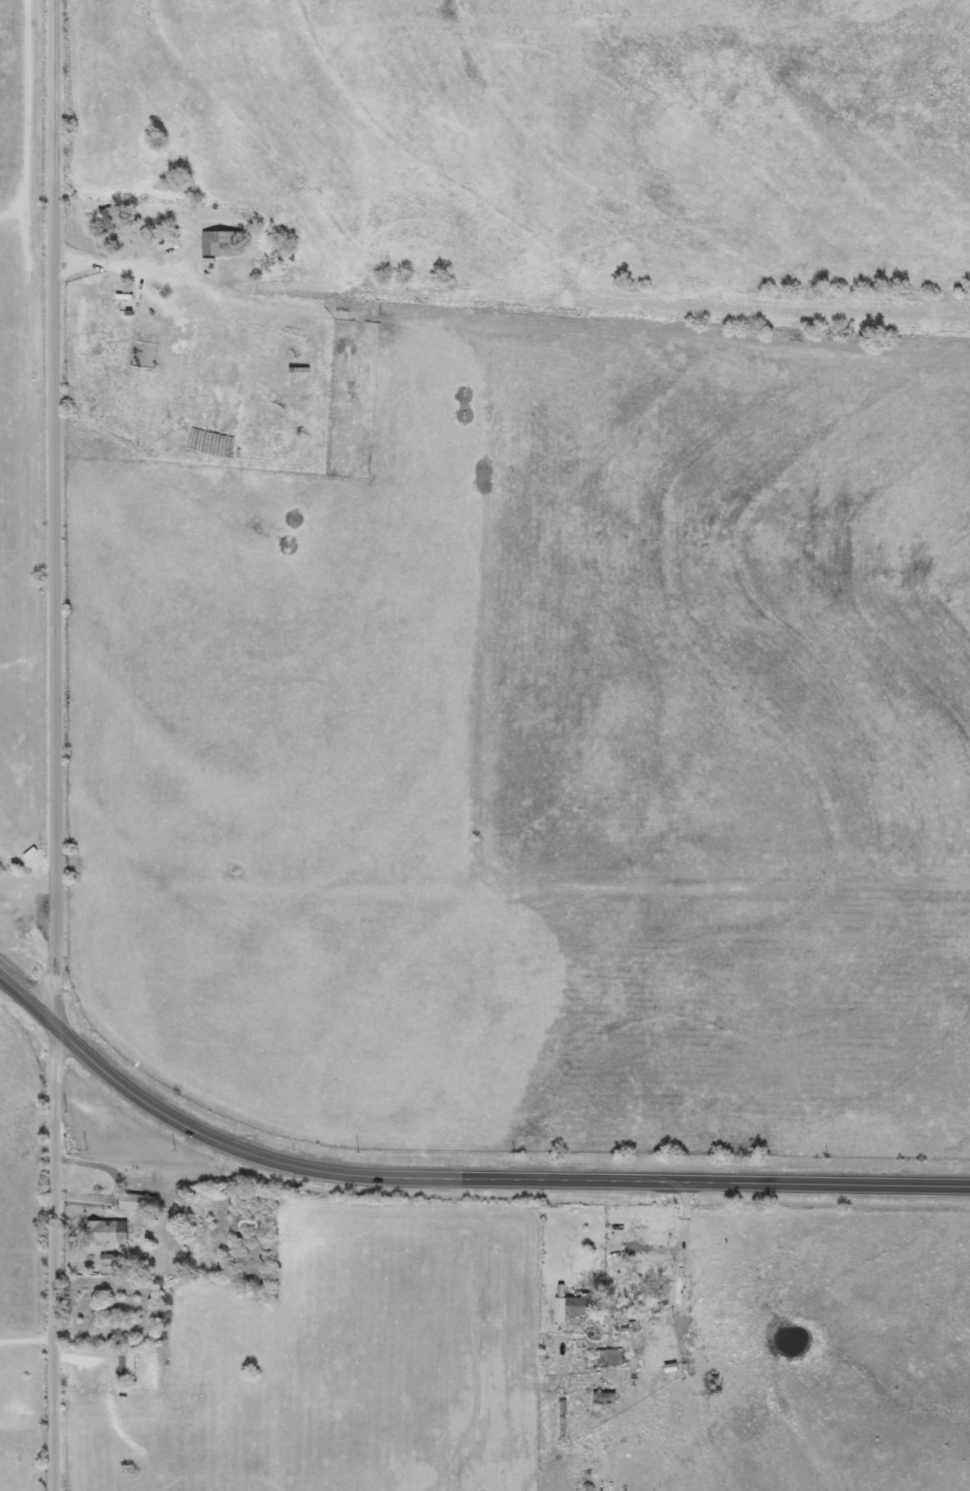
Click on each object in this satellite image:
building: (222, 244)
road: (59, 745)
road: (28, 1002)
road: (132, 1145)
road: (491, 1181)
building: (137, 1202)
building: (248, 1220)
building: (107, 1232)
road: (683, 1244)
building: (577, 1304)
building: (607, 1354)
building: (127, 1364)
building: (605, 1399)
road: (25, 1468)

